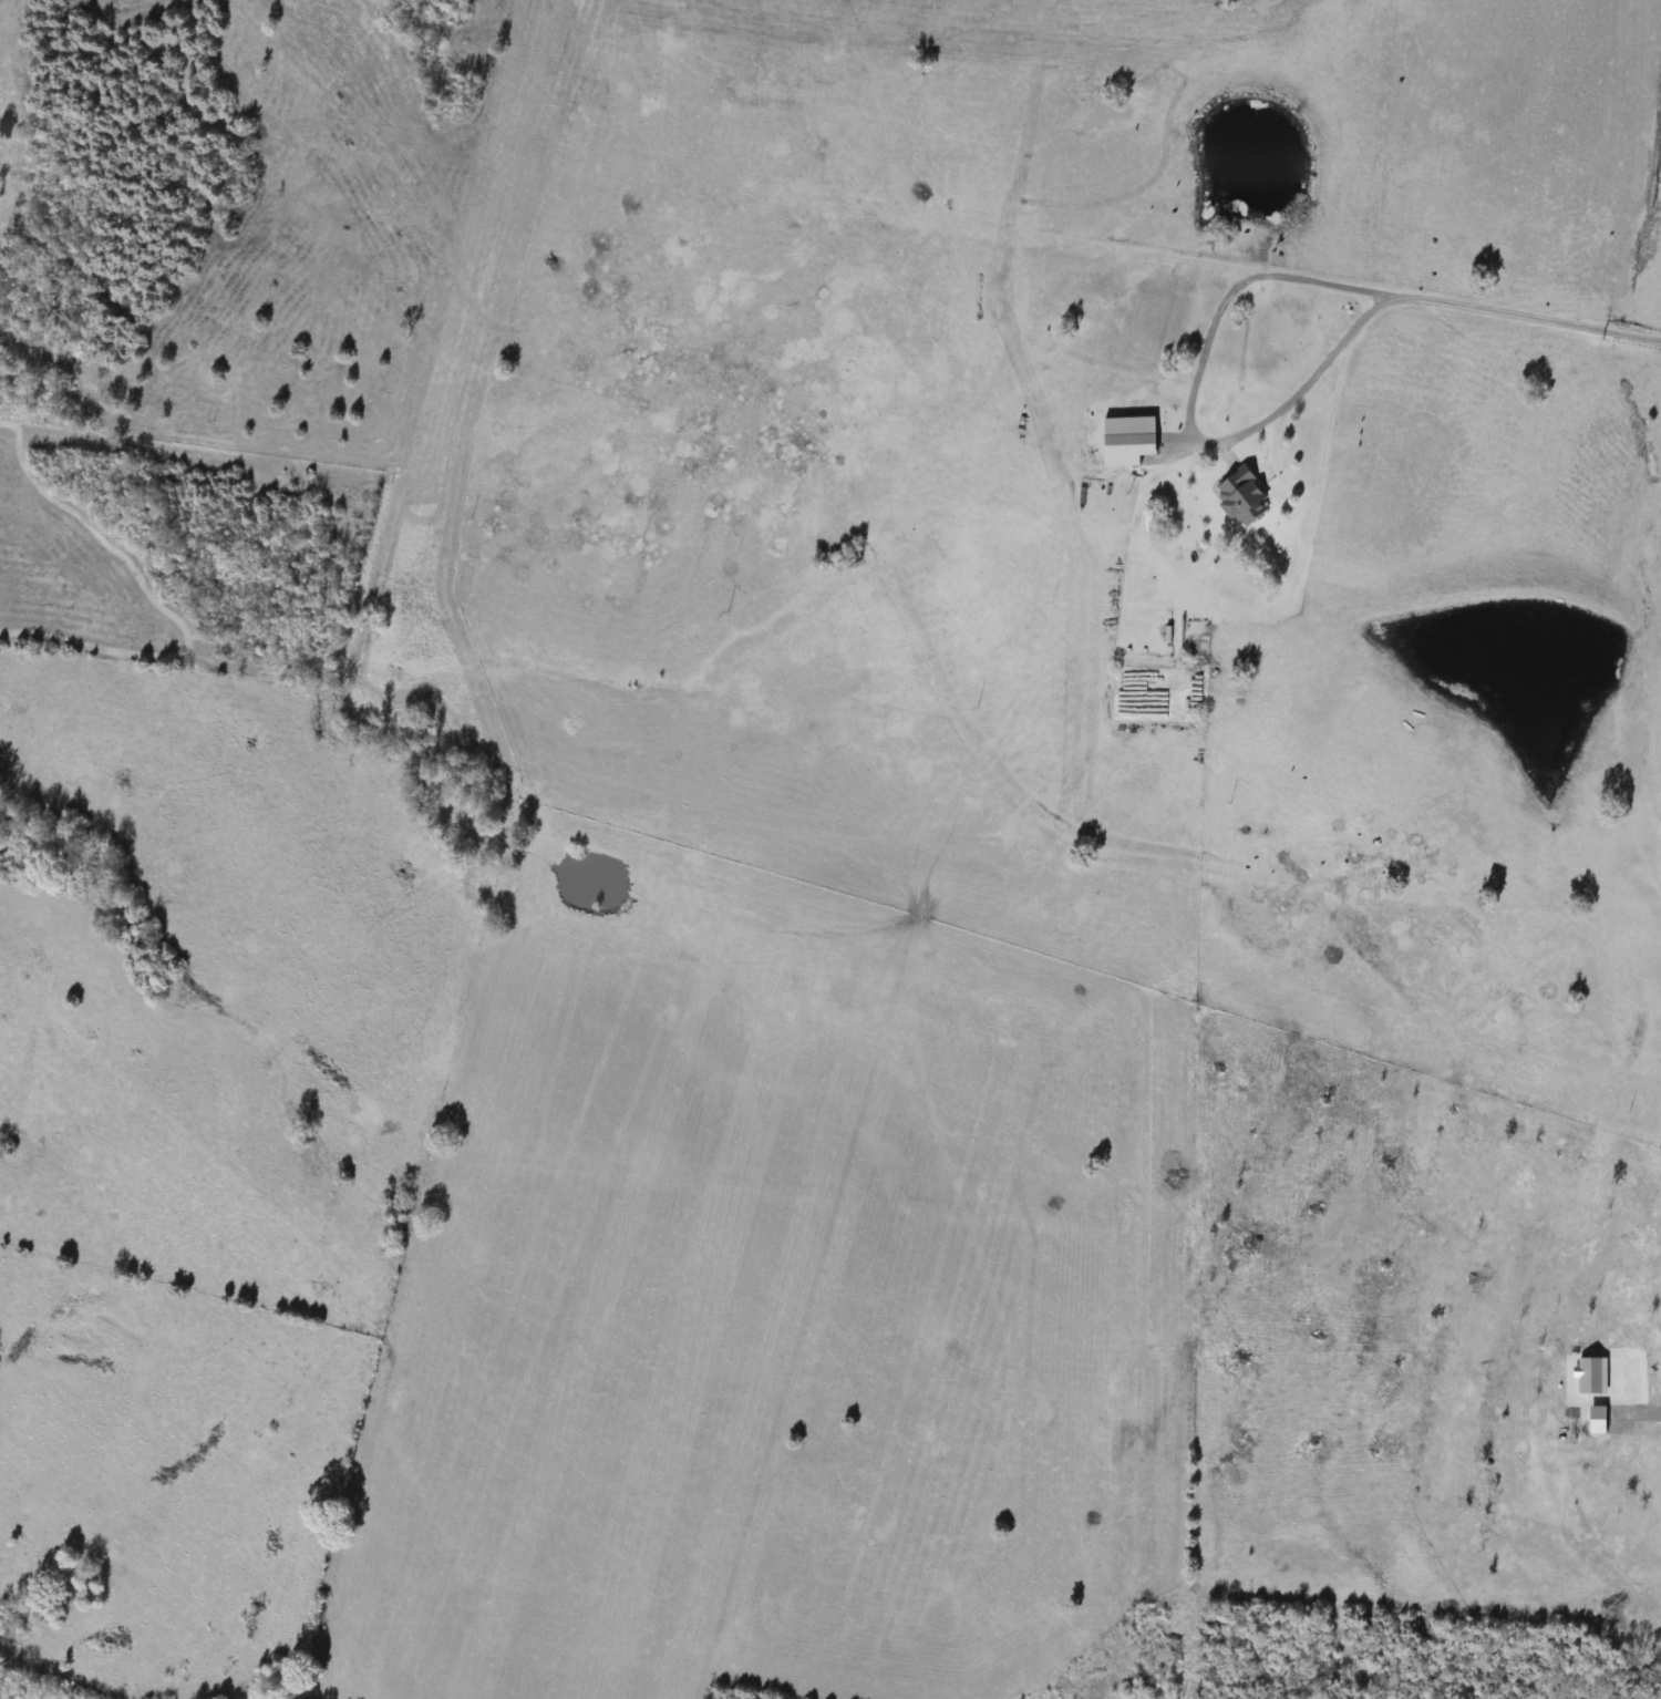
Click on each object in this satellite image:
road: (1526, 313)
road: (1189, 402)
building: (1132, 449)
building: (1245, 495)

